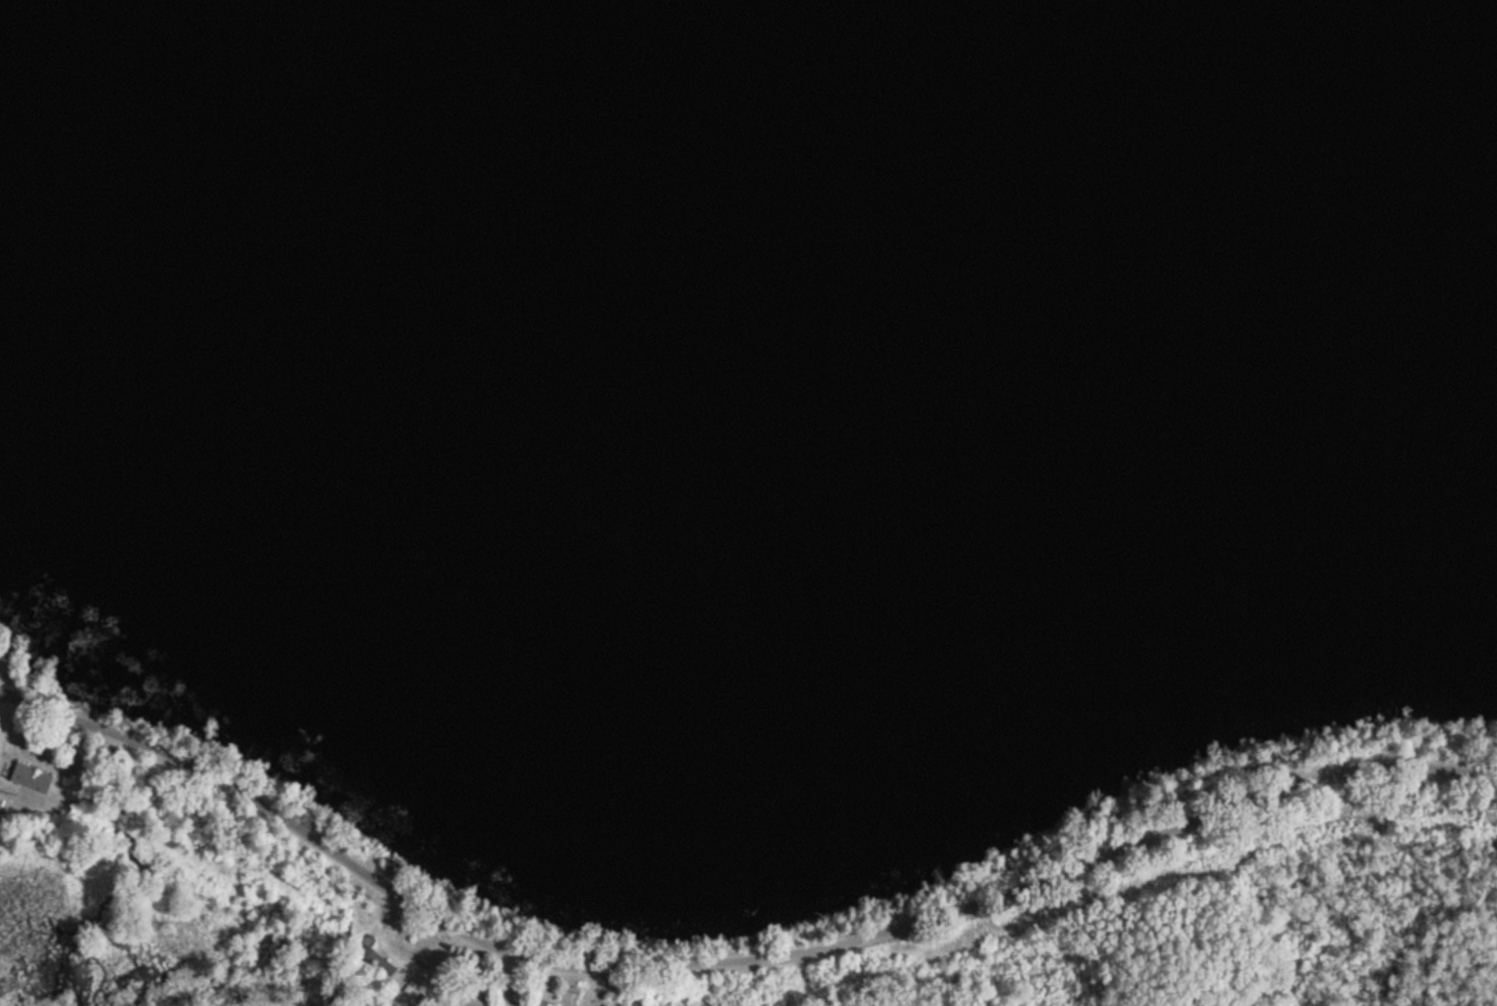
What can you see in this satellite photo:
building: (28, 777)
road: (731, 957)
building: (374, 958)
building: (539, 1004)

